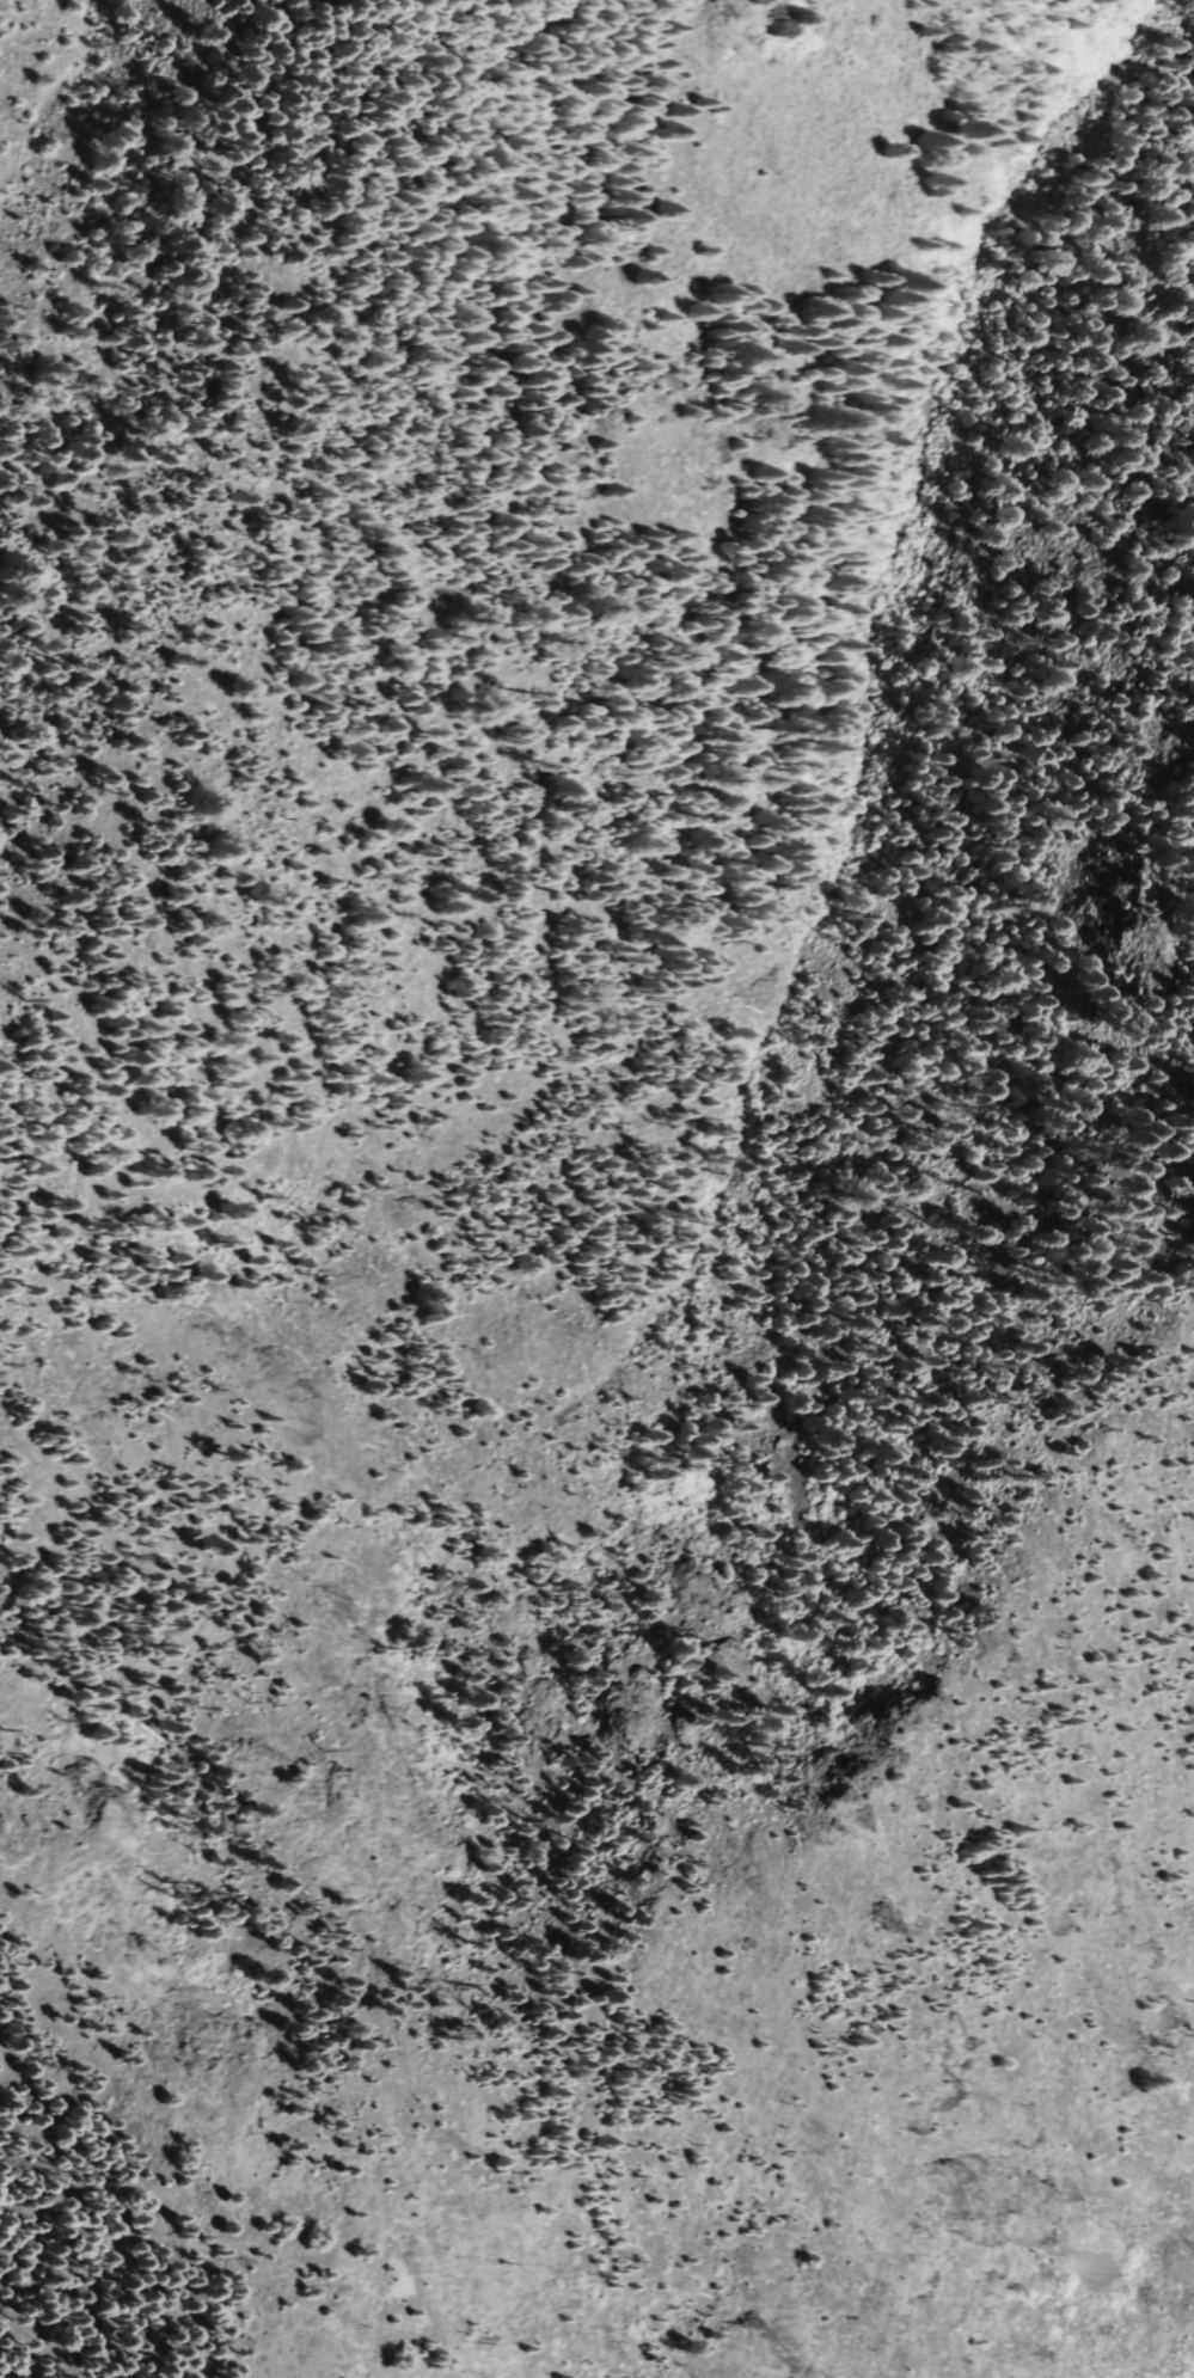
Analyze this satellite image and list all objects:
road: (42, 2341)

